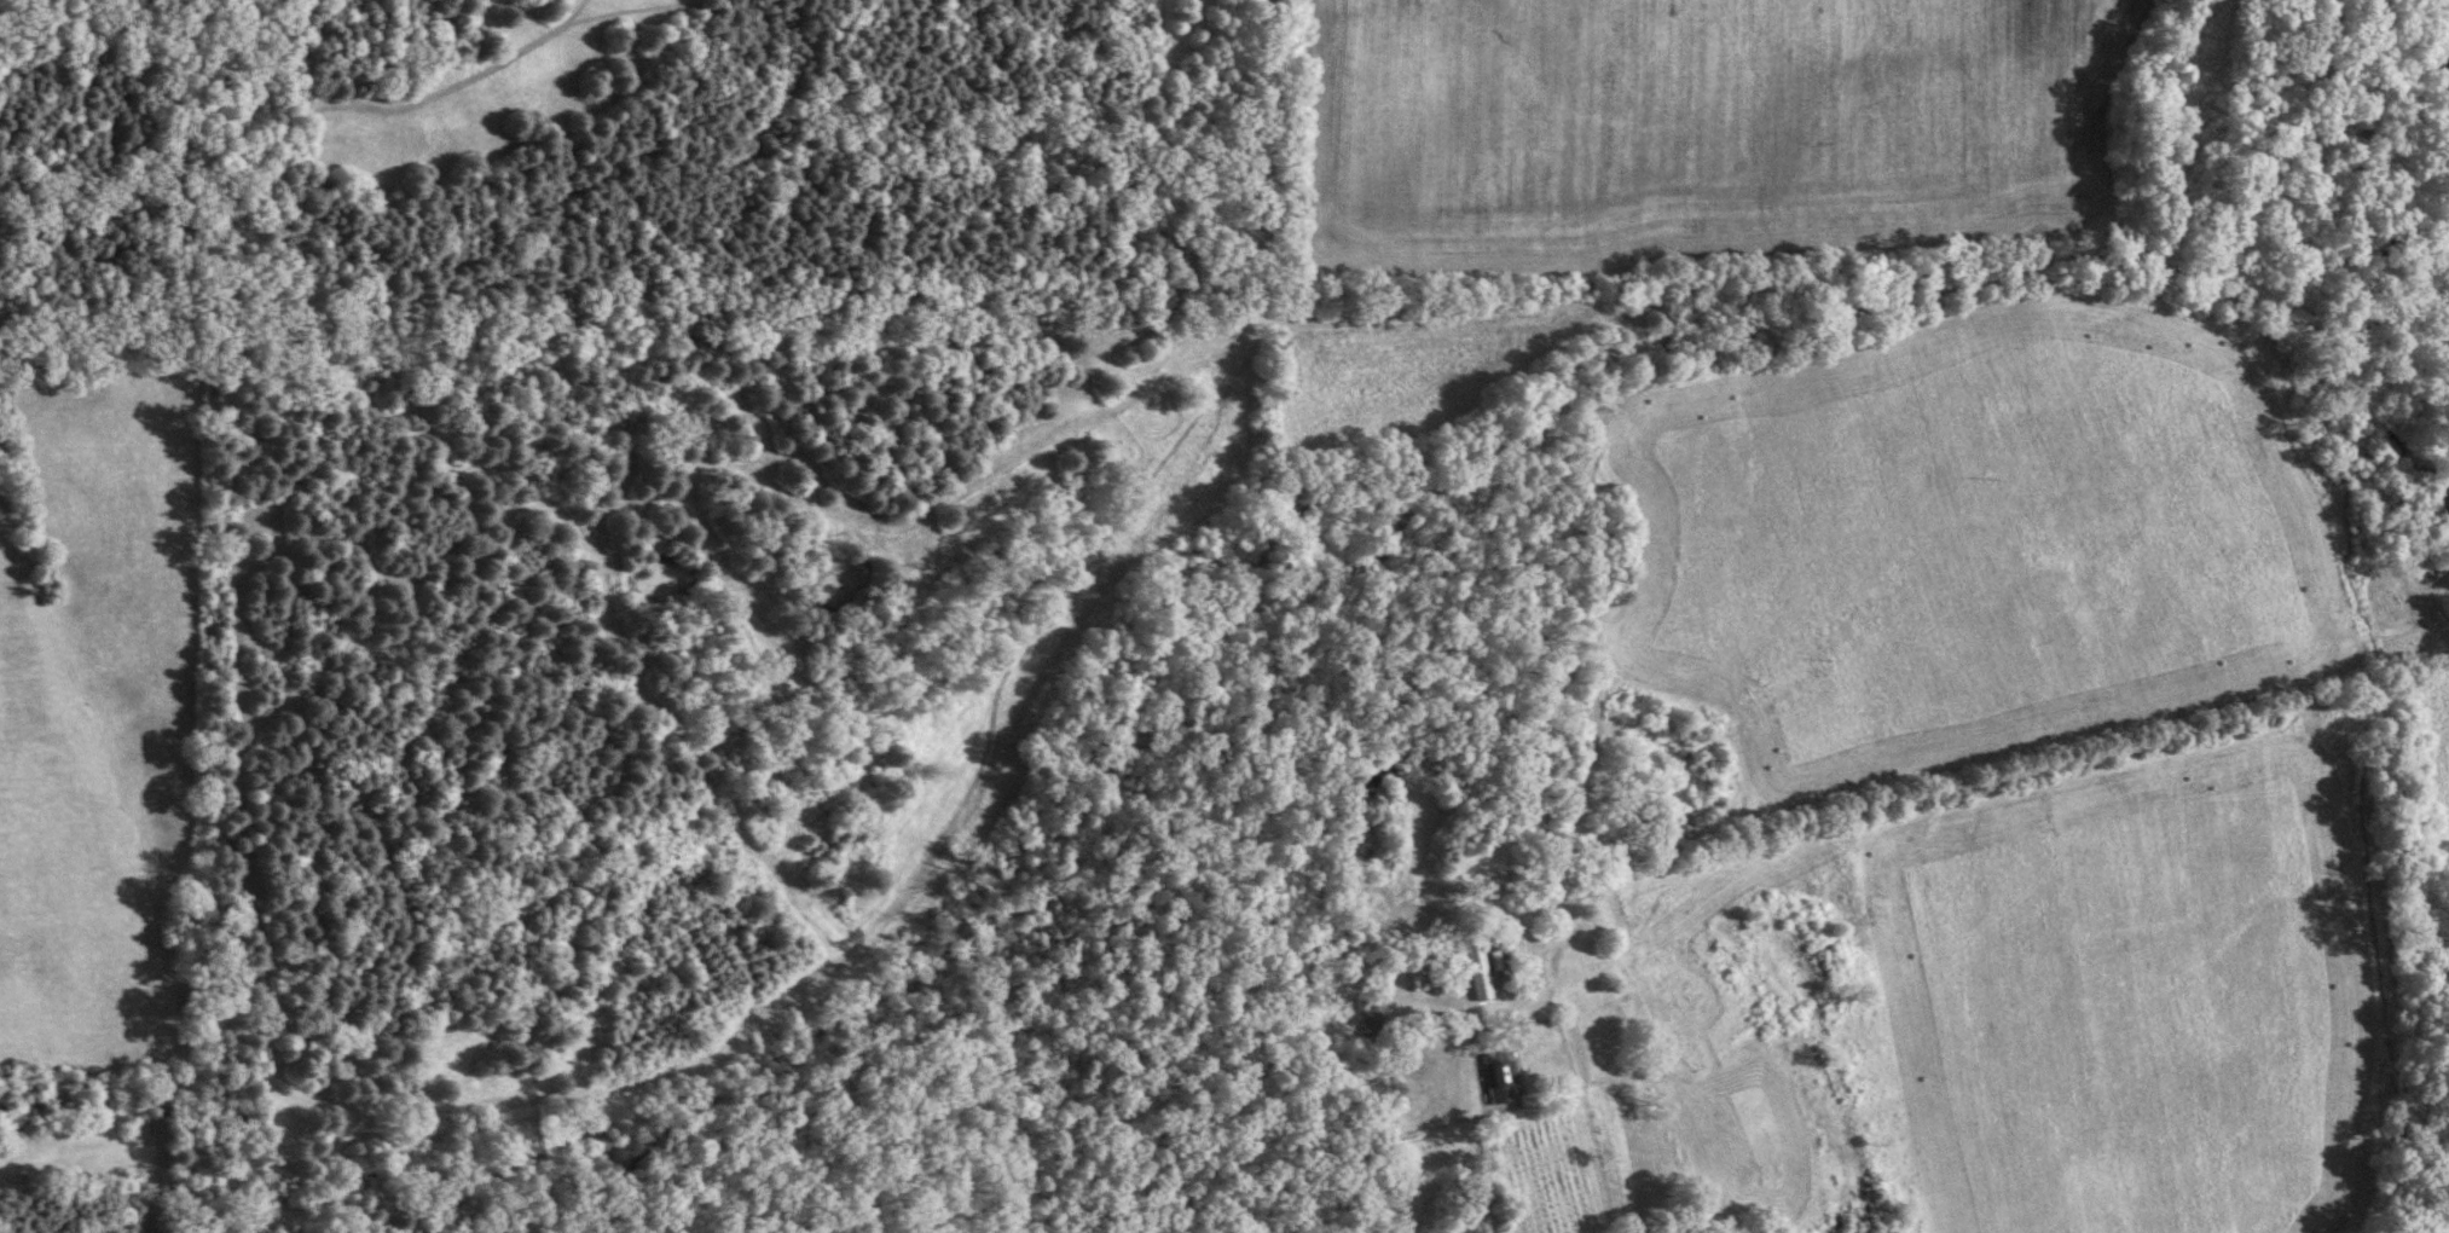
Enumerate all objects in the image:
road: (1637, 364)
building: (1471, 969)
building: (1496, 1079)

